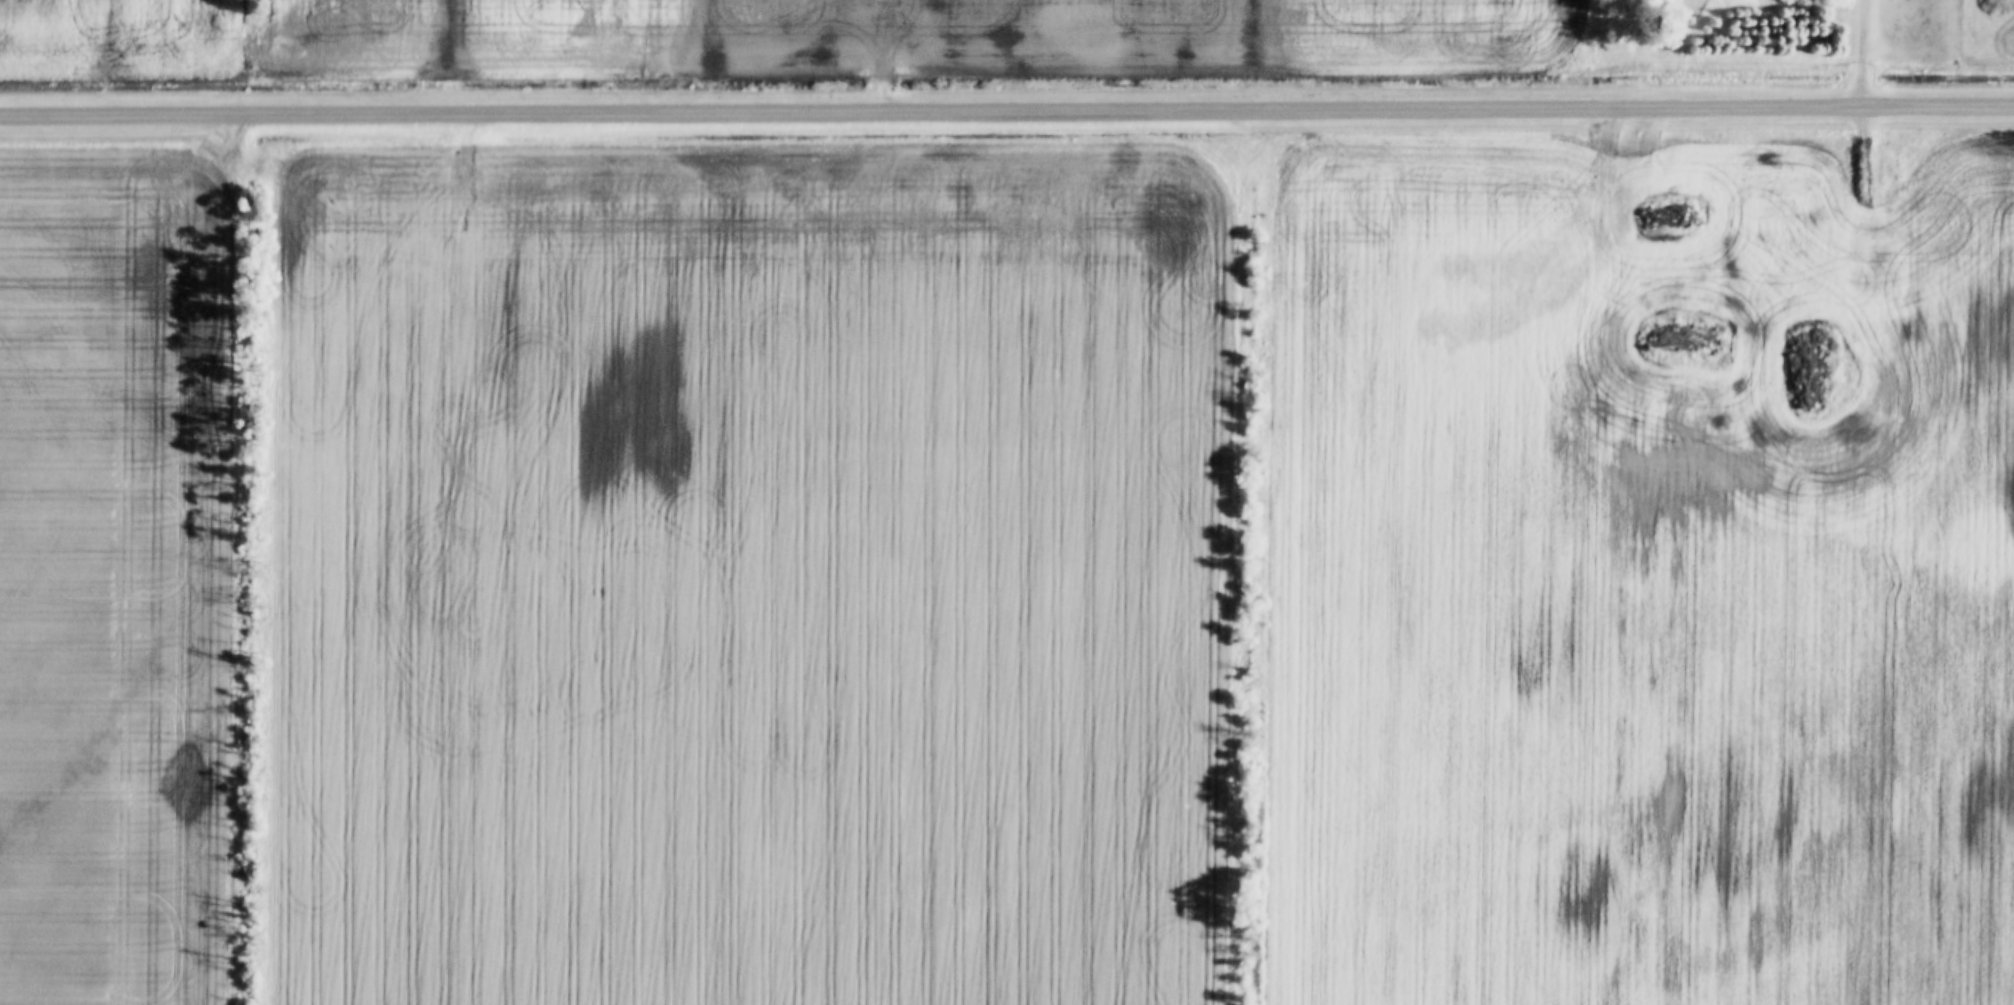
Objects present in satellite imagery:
road: (1866, 52)
road: (1007, 111)
road: (1865, 204)
building: (1800, 266)
building: (1857, 320)
building: (1784, 324)

